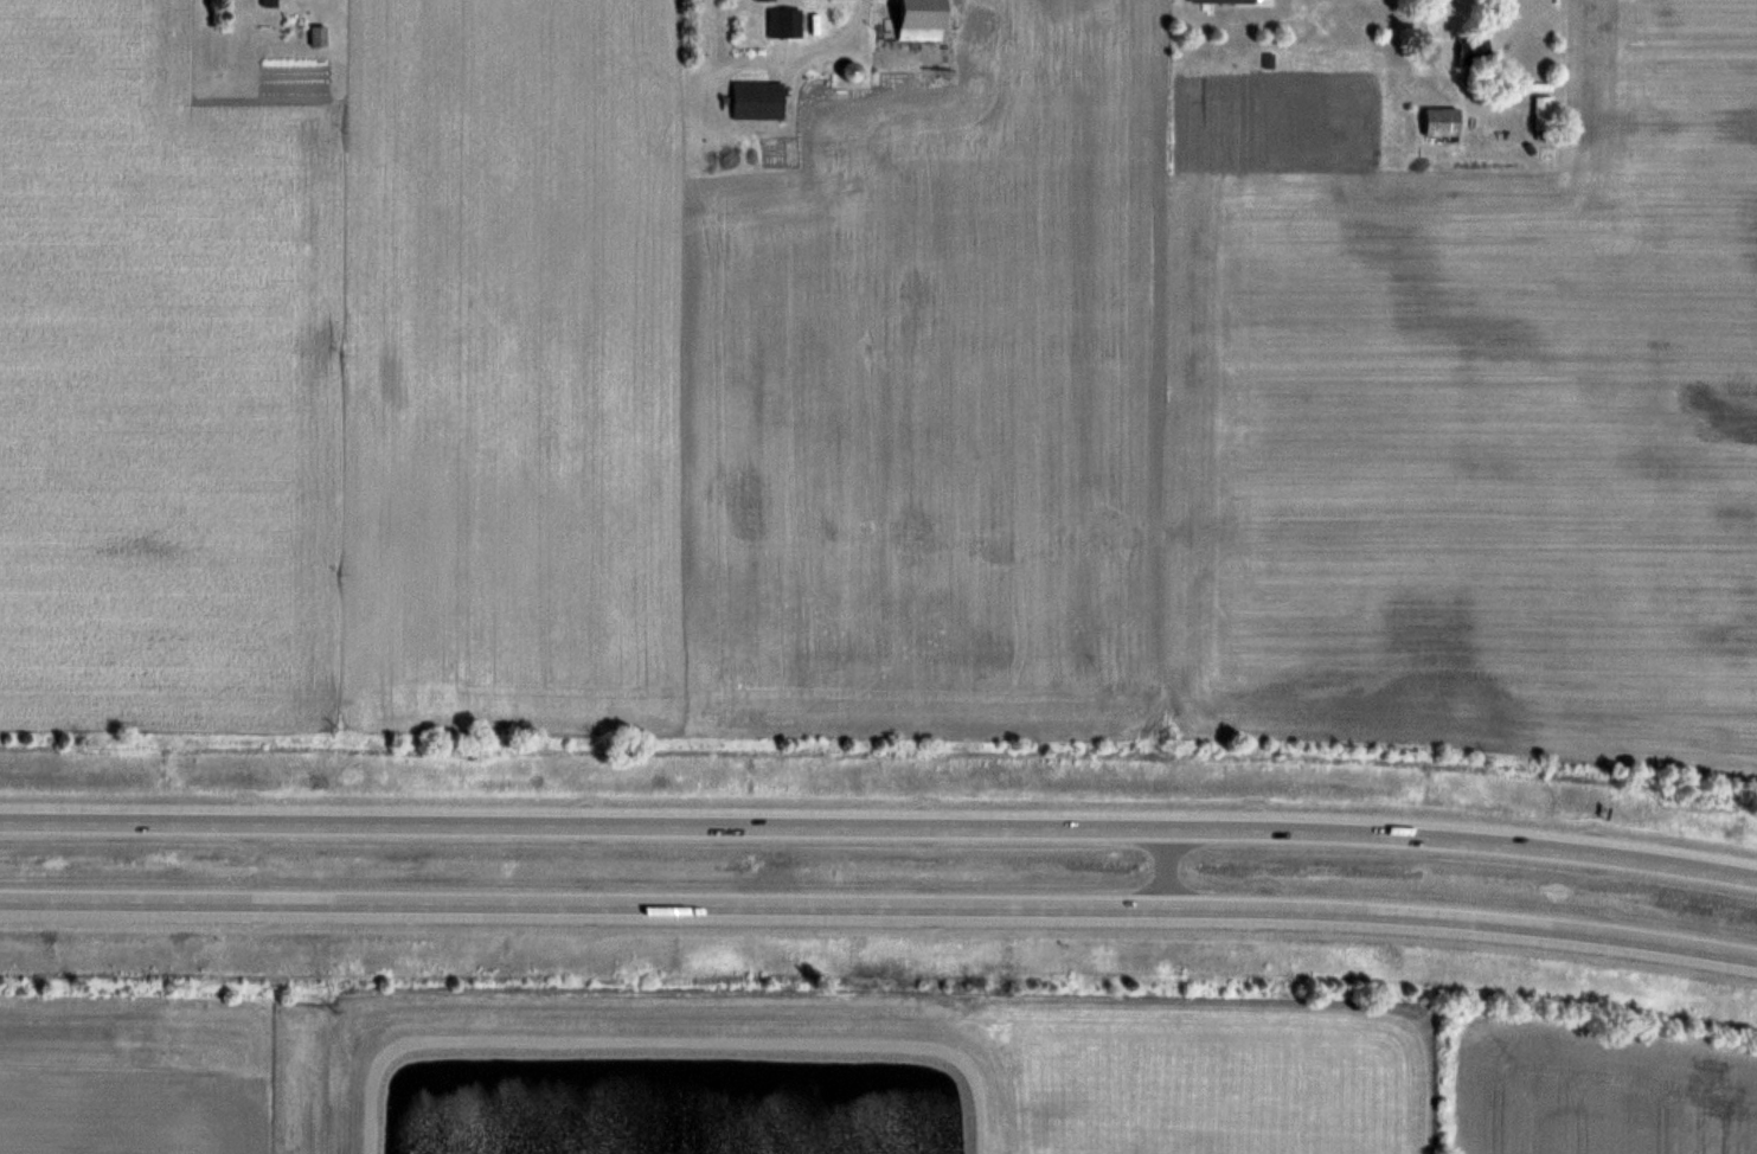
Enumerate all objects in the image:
building: (765, 0)
building: (270, 4)
building: (922, 20)
building: (784, 23)
building: (319, 36)
building: (849, 71)
building: (757, 101)
building: (1544, 117)
building: (1442, 123)
road: (879, 827)
road: (771, 865)
road: (879, 905)
road: (672, 1044)
wastewater plant: (885, 1073)
crop: (130, 1116)

